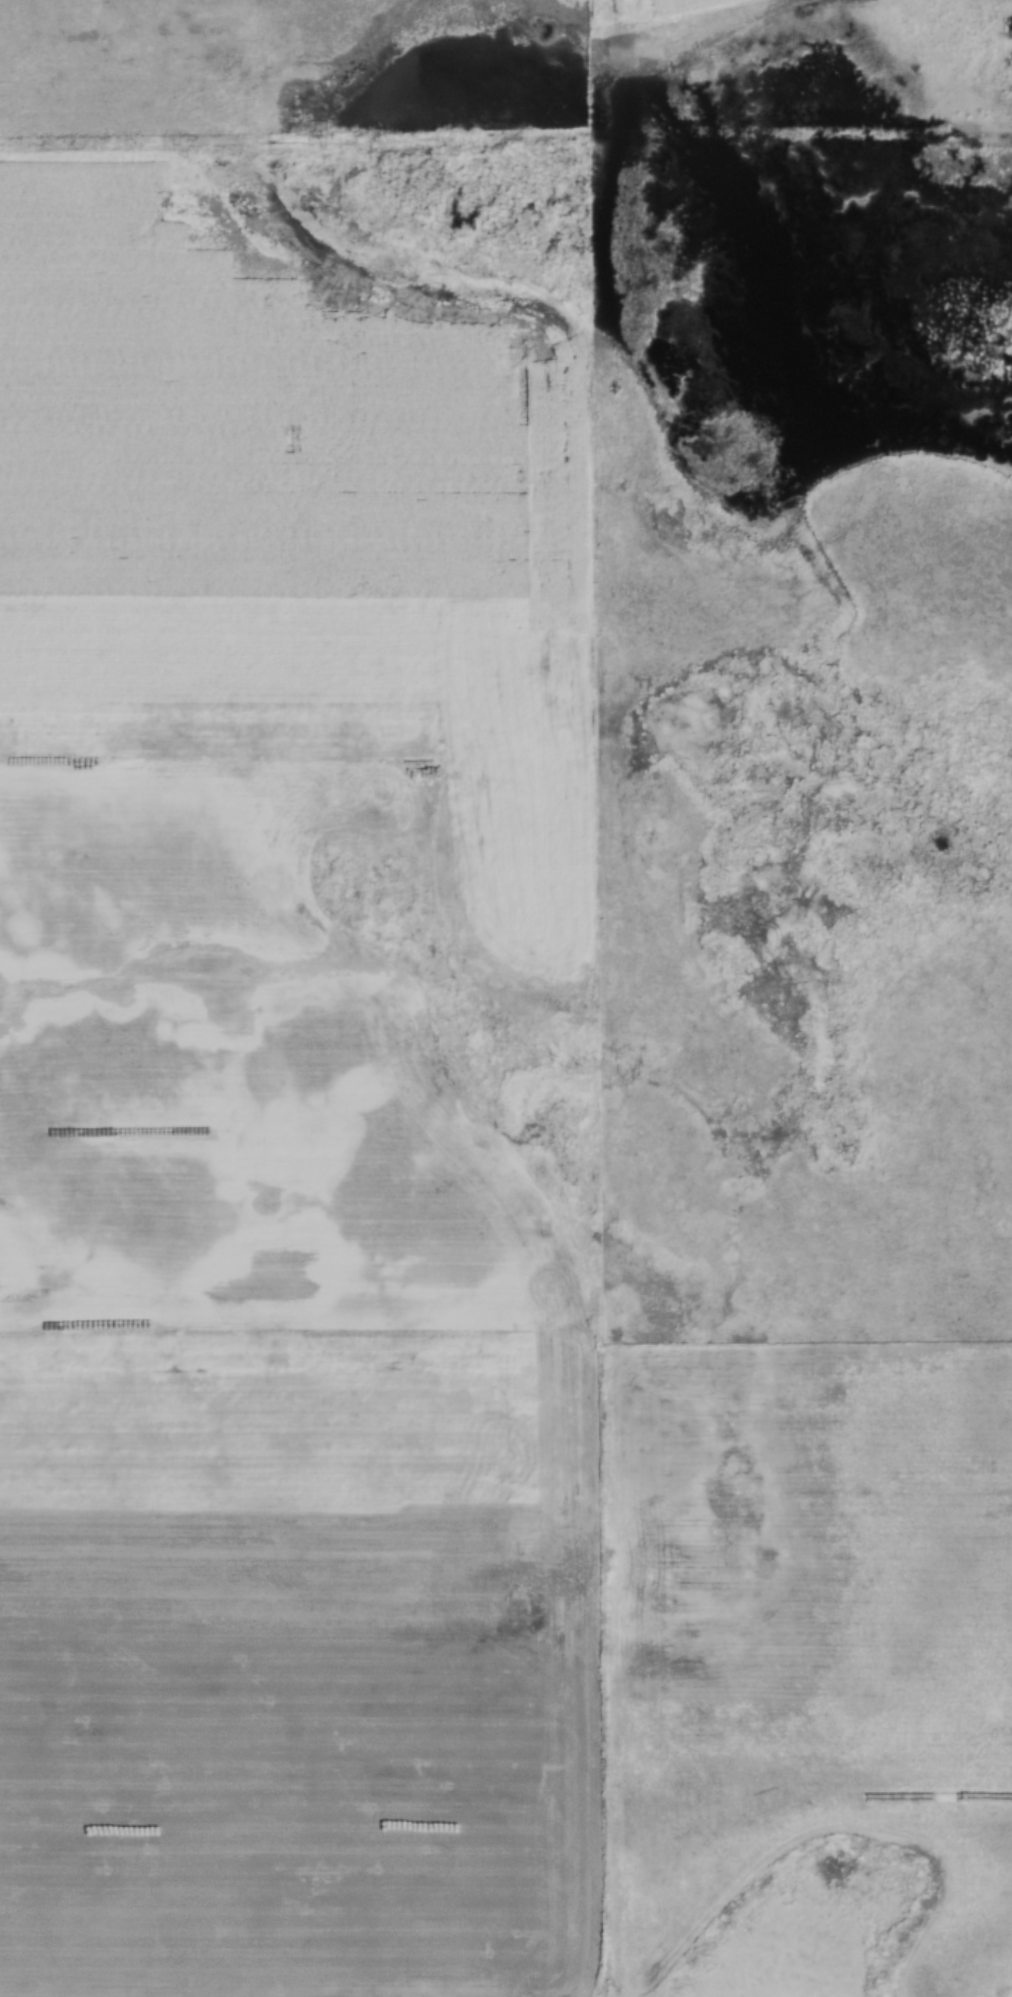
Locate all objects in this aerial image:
building: (992, 1585)

